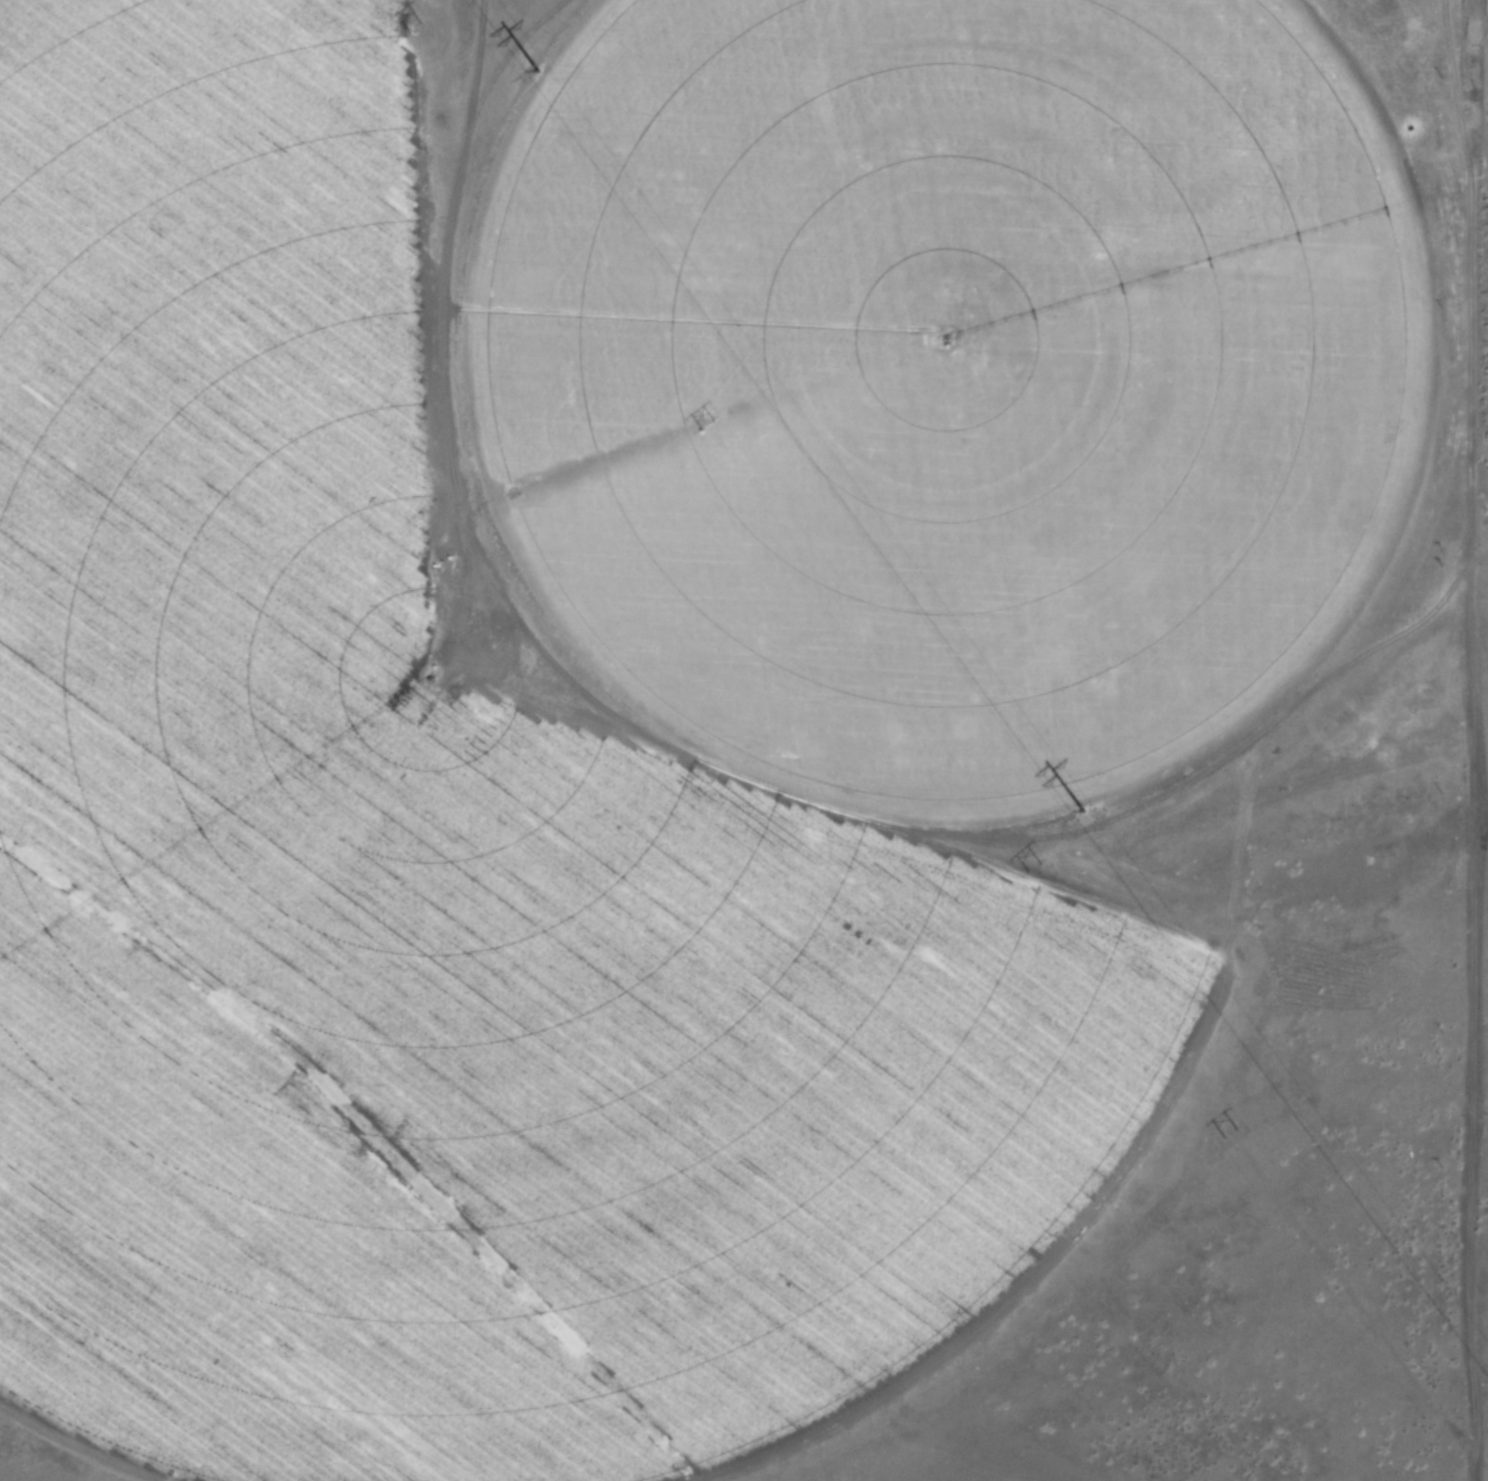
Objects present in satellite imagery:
power tower: (418, 25)
power tower: (535, 74)
power tower: (707, 425)
road: (1473, 740)
power tower: (1075, 811)
power tower: (1040, 866)
power tower: (1230, 1134)

